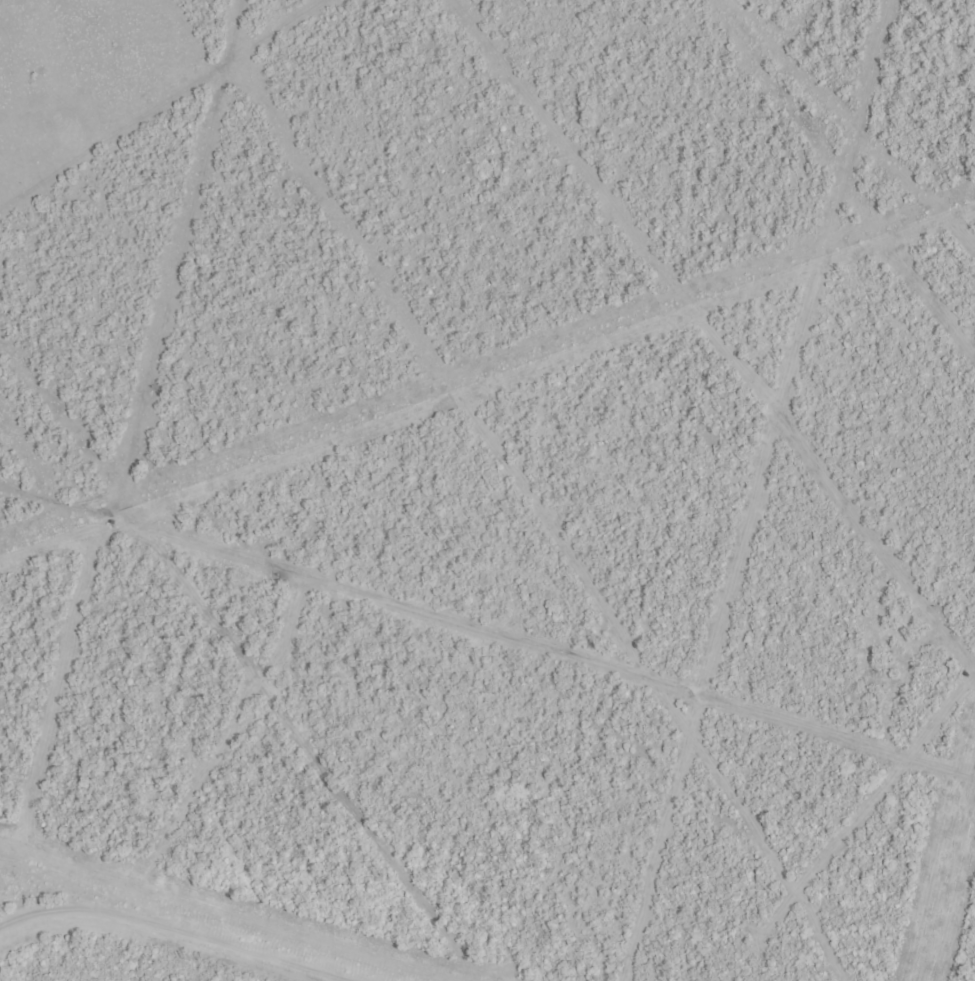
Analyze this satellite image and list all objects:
road: (147, 939)

